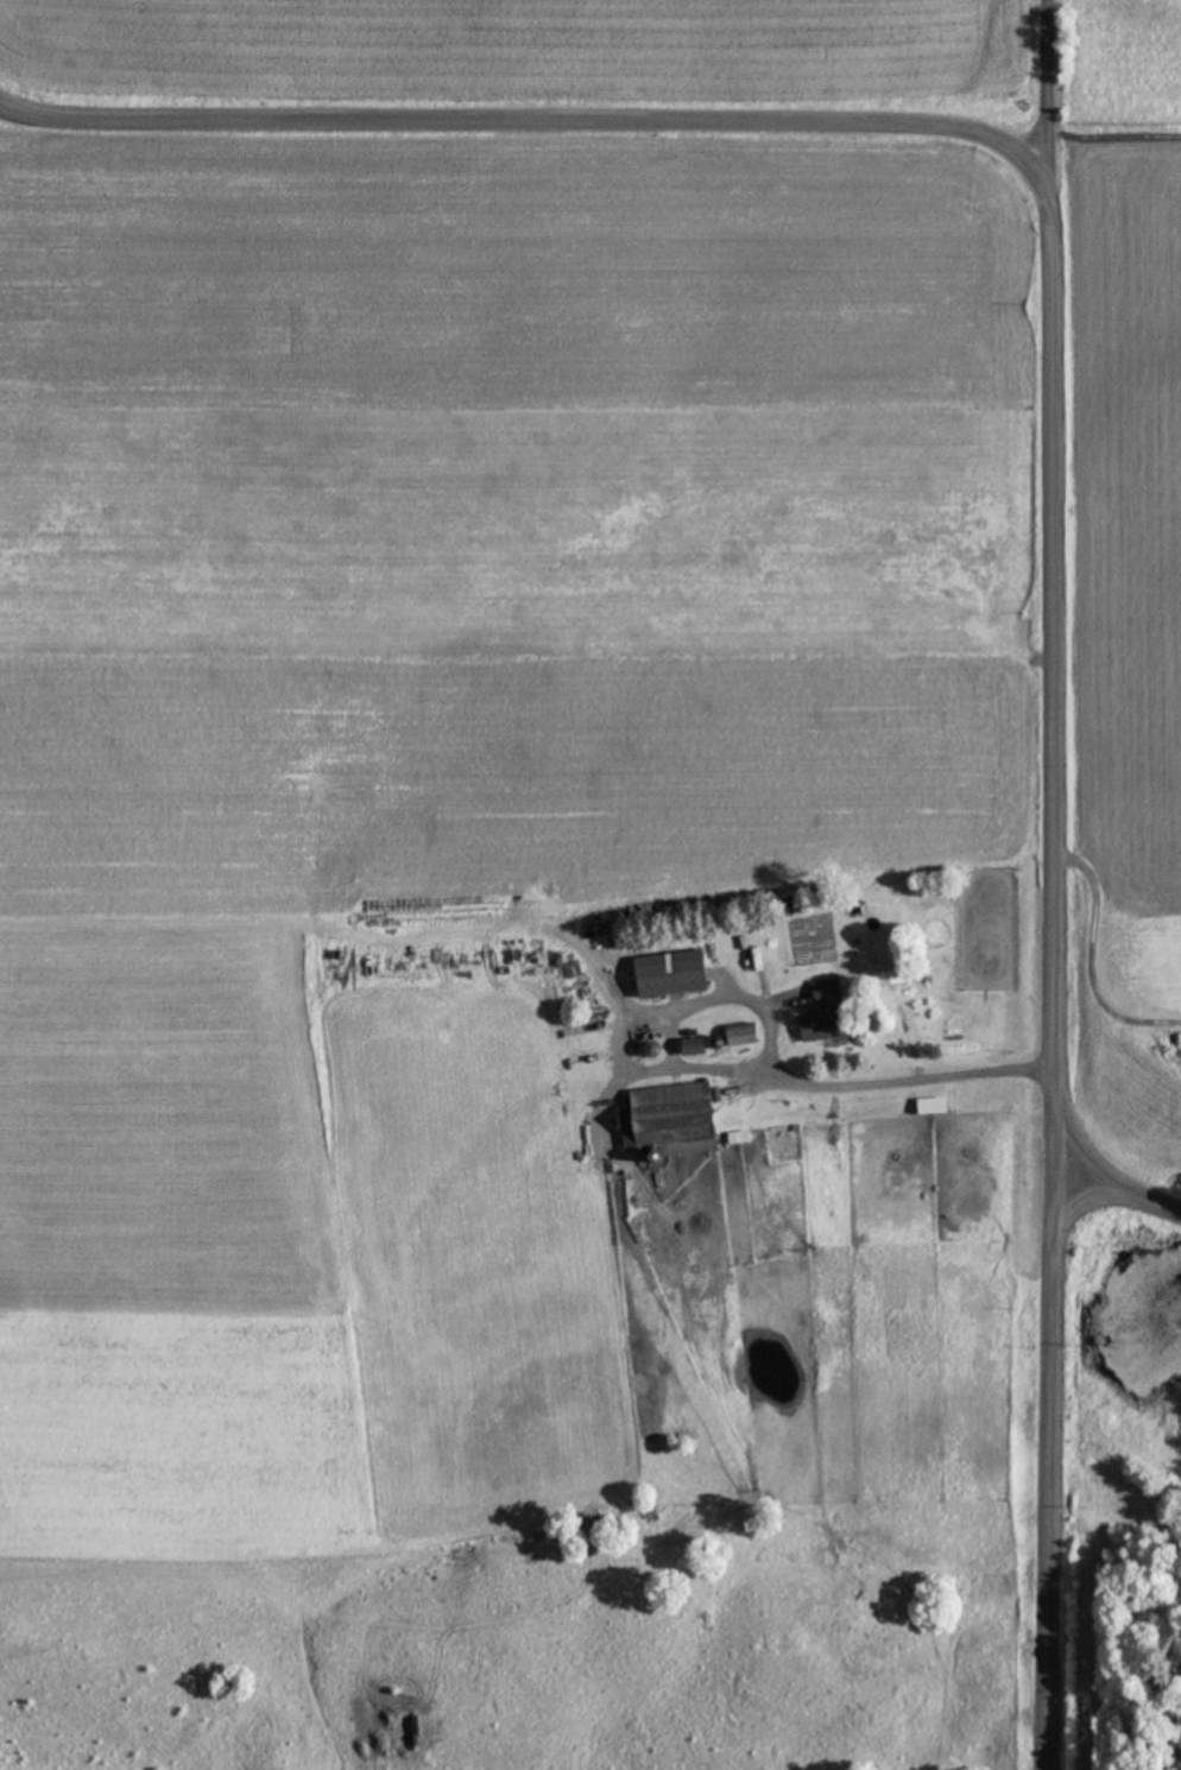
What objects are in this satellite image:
road: (1074, 102)
road: (979, 139)
building: (669, 973)
building: (890, 976)
building: (823, 1012)
building: (740, 1035)
building: (691, 1047)
building: (669, 1119)
road: (1097, 1169)
road: (1088, 1212)
road: (1049, 1428)

